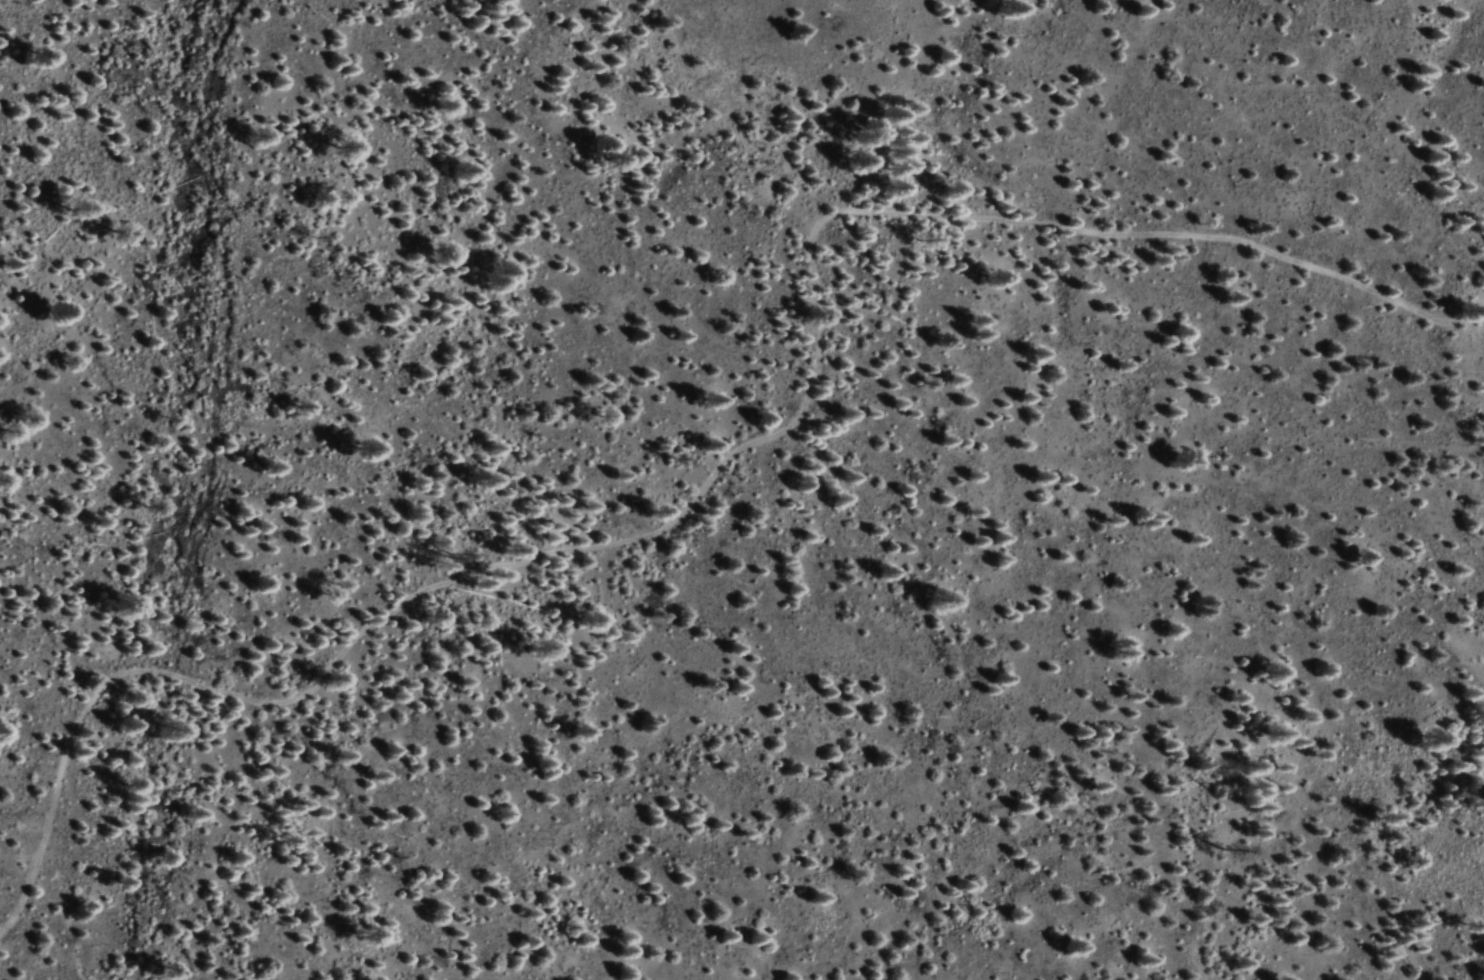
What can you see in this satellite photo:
road: (721, 472)

